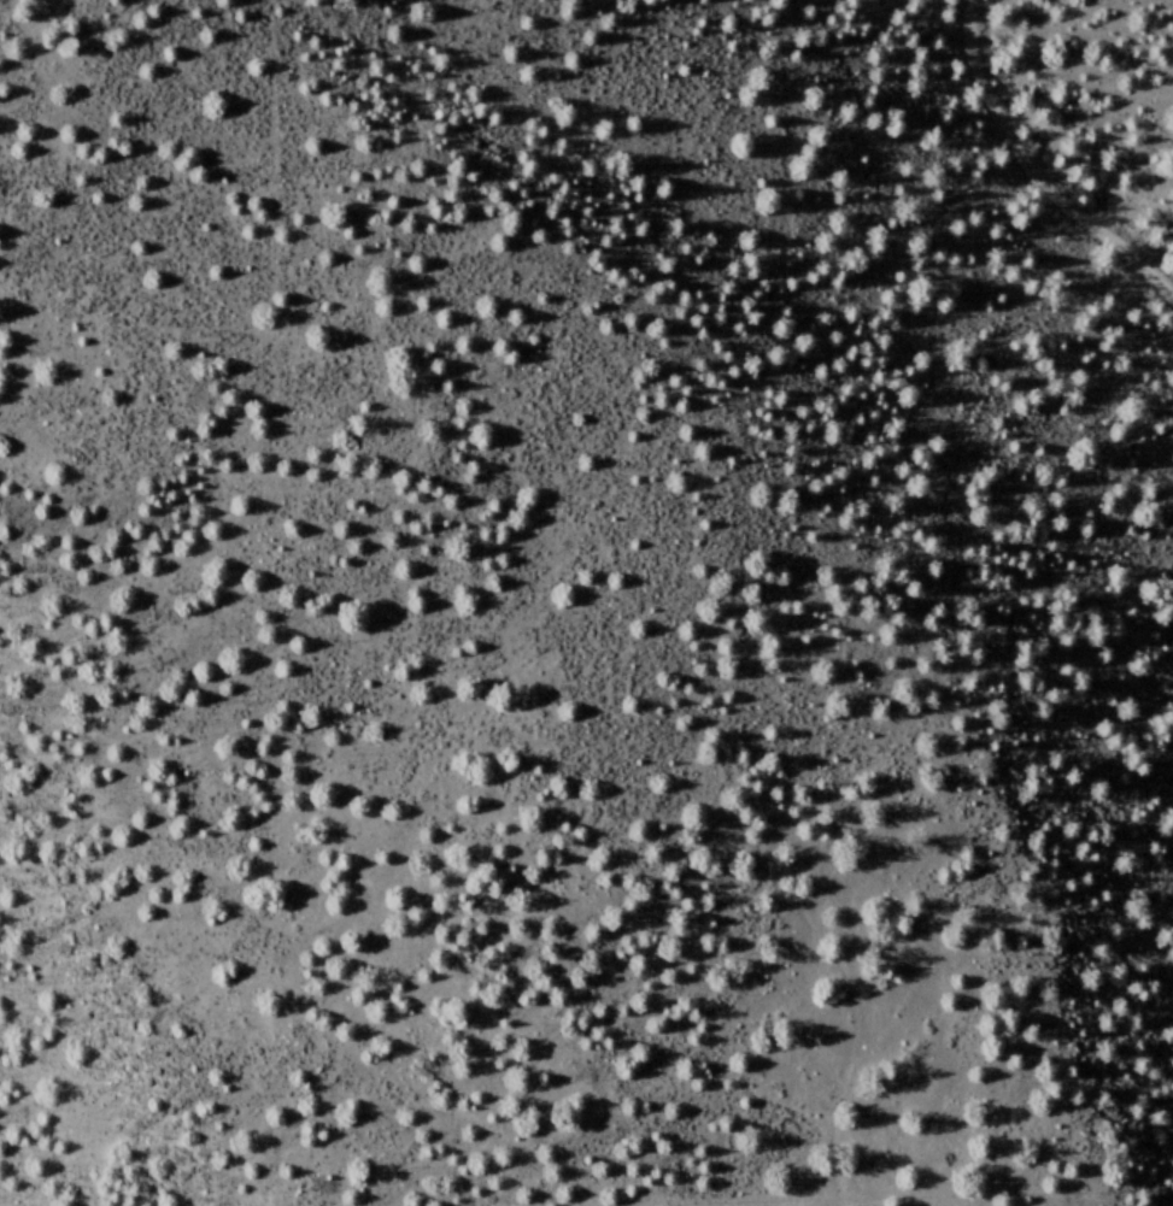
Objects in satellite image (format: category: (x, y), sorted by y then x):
road: (1033, 171)
road: (958, 596)

